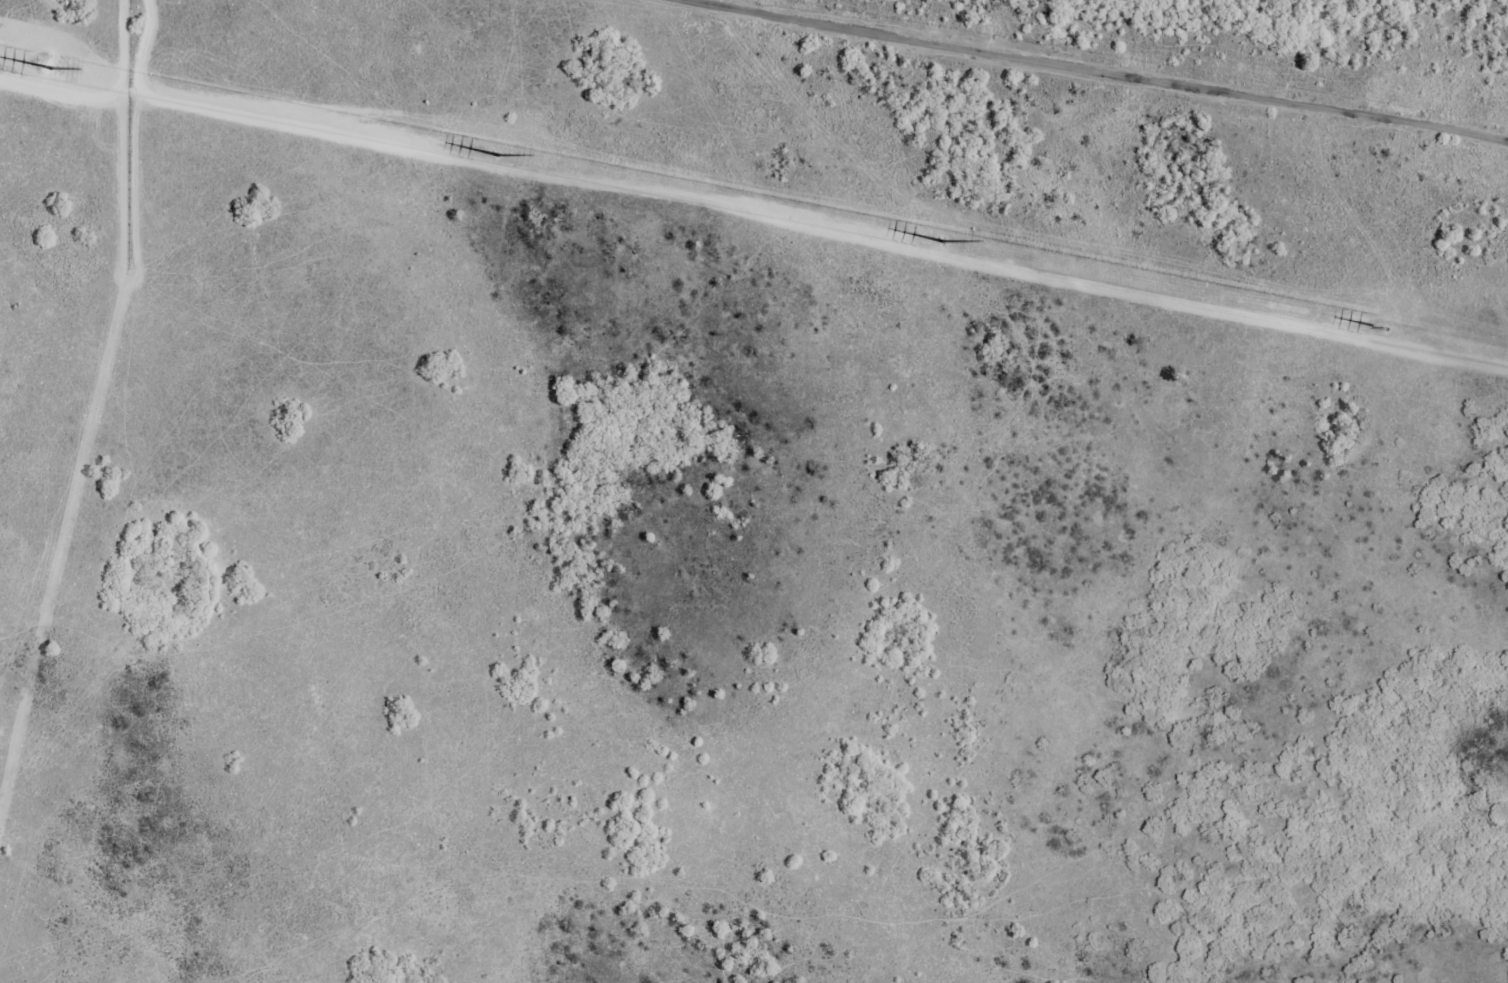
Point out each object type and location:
road: (1117, 67)
power tower: (61, 69)
power tower: (506, 153)
power tower: (944, 244)
power tower: (1390, 331)

